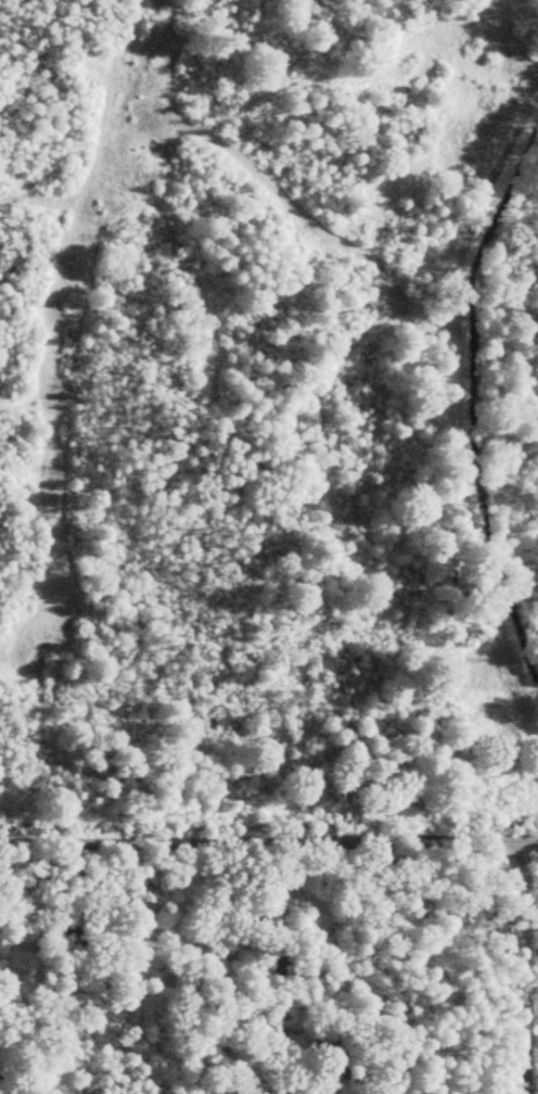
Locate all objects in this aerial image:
road: (269, 842)

